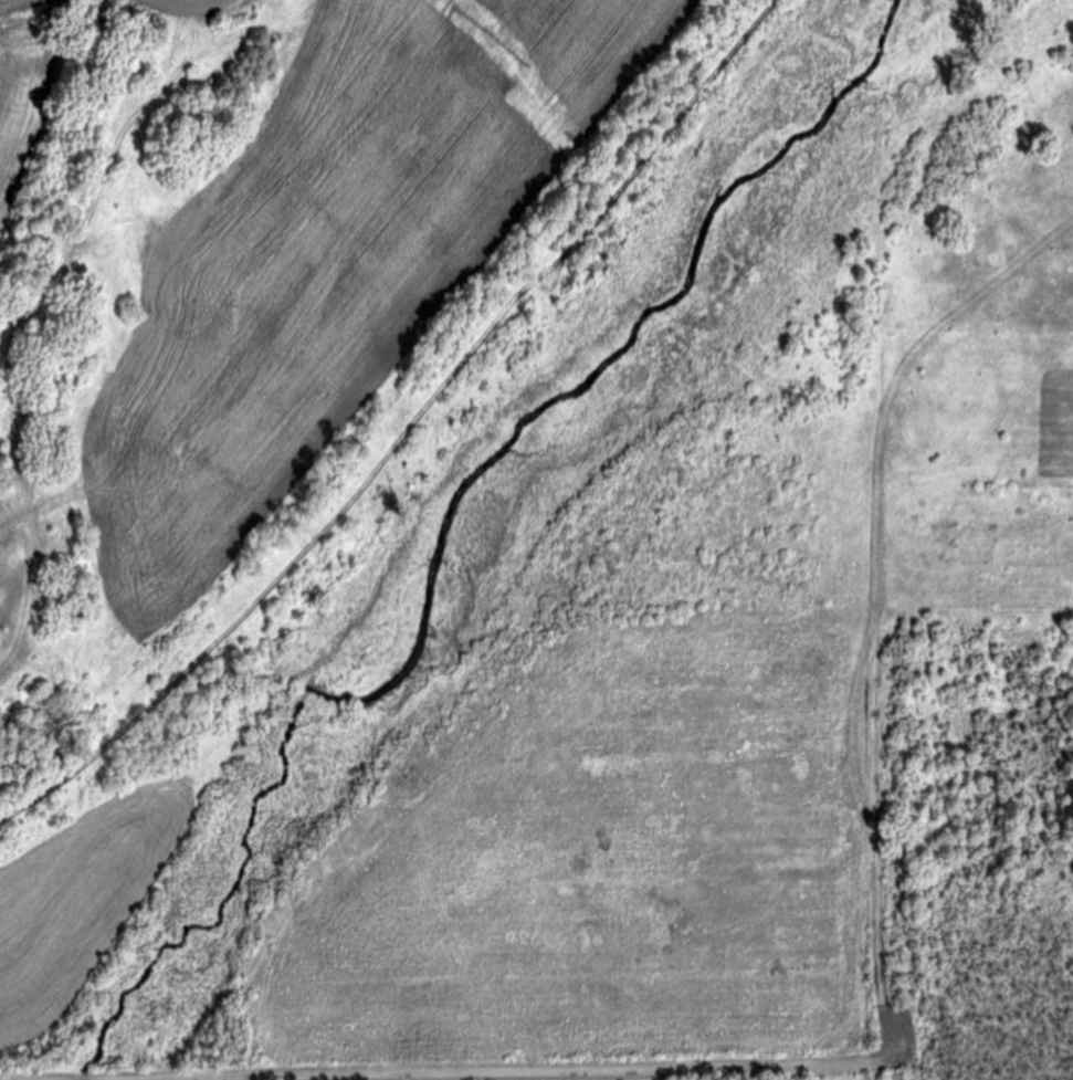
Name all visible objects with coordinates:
road: (662, 140)
road: (792, 1079)

